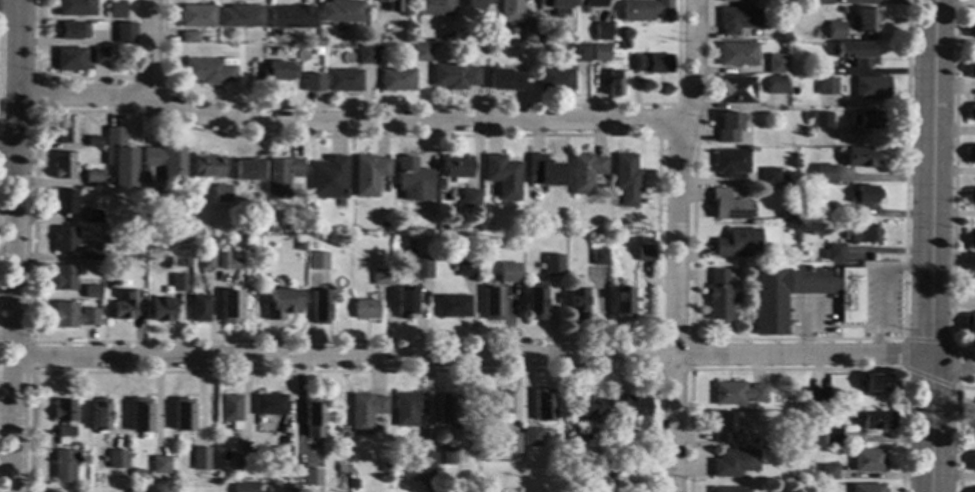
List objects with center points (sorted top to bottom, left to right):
road: (10, 0)
building: (727, 1)
building: (822, 2)
building: (479, 4)
building: (590, 4)
building: (391, 5)
building: (433, 7)
building: (555, 7)
building: (74, 8)
building: (116, 10)
building: (643, 10)
building: (839, 10)
building: (341, 11)
building: (510, 11)
building: (373, 15)
building: (197, 16)
building: (848, 16)
road: (9, 17)
building: (240, 17)
building: (291, 17)
building: (867, 20)
building: (738, 21)
building: (971, 29)
building: (72, 30)
building: (835, 31)
building: (602, 32)
building: (125, 33)
building: (528, 33)
building: (111, 37)
building: (189, 37)
building: (484, 37)
building: (620, 46)
road: (147, 47)
building: (317, 51)
building: (578, 52)
building: (824, 52)
building: (419, 53)
building: (599, 53)
building: (366, 54)
building: (736, 54)
building: (861, 55)
building: (100, 56)
building: (68, 59)
road: (691, 62)
building: (652, 63)
building: (775, 65)
building: (210, 71)
building: (278, 71)
building: (971, 71)
building: (454, 76)
road: (44, 80)
road: (132, 80)
building: (396, 80)
building: (505, 80)
building: (555, 80)
building: (344, 81)
building: (313, 83)
building: (613, 83)
building: (775, 85)
building: (825, 87)
building: (870, 88)
building: (734, 90)
road: (35, 96)
road: (426, 107)
road: (674, 109)
building: (971, 113)
building: (805, 116)
building: (820, 120)
building: (865, 120)
road: (346, 122)
building: (727, 128)
building: (65, 129)
building: (93, 142)
road: (8, 151)
building: (970, 155)
building: (859, 157)
building: (120, 158)
building: (729, 163)
building: (162, 164)
building: (64, 165)
building: (207, 167)
building: (456, 168)
building: (248, 169)
road: (17, 170)
building: (543, 172)
building: (584, 173)
building: (823, 174)
building: (368, 175)
building: (768, 176)
building: (781, 176)
building: (92, 177)
building: (281, 177)
building: (502, 177)
building: (328, 178)
road: (930, 179)
building: (625, 180)
building: (413, 181)
road: (954, 183)
building: (222, 194)
building: (862, 195)
building: (970, 197)
building: (470, 198)
building: (65, 202)
building: (725, 206)
building: (806, 213)
building: (92, 216)
building: (783, 218)
building: (387, 227)
building: (399, 229)
building: (271, 230)
building: (862, 234)
building: (64, 239)
building: (970, 240)
building: (409, 243)
building: (736, 243)
road: (16, 246)
building: (835, 252)
building: (822, 253)
building: (92, 254)
building: (644, 254)
building: (777, 255)
building: (598, 257)
building: (206, 261)
building: (316, 261)
building: (226, 262)
building: (182, 264)
building: (551, 265)
building: (424, 267)
building: (466, 268)
building: (510, 271)
building: (381, 277)
building: (63, 278)
building: (95, 283)
building: (178, 283)
building: (970, 283)
building: (488, 284)
building: (830, 289)
road: (882, 289)
building: (91, 292)
building: (717, 295)
building: (534, 301)
building: (405, 302)
building: (280, 303)
building: (576, 303)
building: (491, 304)
building: (621, 304)
road: (674, 306)
building: (124, 307)
building: (229, 307)
building: (319, 307)
building: (452, 307)
building: (198, 309)
building: (162, 310)
building: (364, 310)
building: (72, 316)
building: (969, 323)
road: (805, 329)
road: (850, 339)
road: (906, 339)
road: (644, 341)
road: (472, 356)
road: (951, 361)
road: (798, 369)
road: (690, 371)
road: (344, 372)
building: (877, 383)
building: (736, 394)
building: (817, 399)
building: (494, 403)
building: (268, 405)
building: (542, 406)
building: (591, 407)
building: (229, 408)
building: (406, 409)
building: (445, 409)
building: (364, 412)
building: (630, 413)
building: (99, 415)
building: (182, 415)
building: (63, 416)
building: (139, 416)
building: (313, 416)
building: (876, 421)
road: (928, 425)
building: (722, 427)
road: (958, 430)
building: (578, 433)
building: (830, 437)
building: (529, 438)
building: (508, 443)
building: (768, 444)
building: (83, 450)
building: (281, 456)
building: (444, 456)
building: (199, 459)
building: (116, 460)
building: (240, 461)
building: (423, 461)
building: (866, 461)
building: (972, 462)
building: (732, 463)
building: (63, 465)
building: (159, 465)
building: (383, 468)
building: (629, 468)
building: (339, 469)
building: (827, 472)
building: (426, 474)
building: (310, 477)
building: (352, 484)
building: (426, 485)
building: (243, 486)
building: (289, 488)
building: (866, 488)
building: (728, 490)
building: (974, 491)

